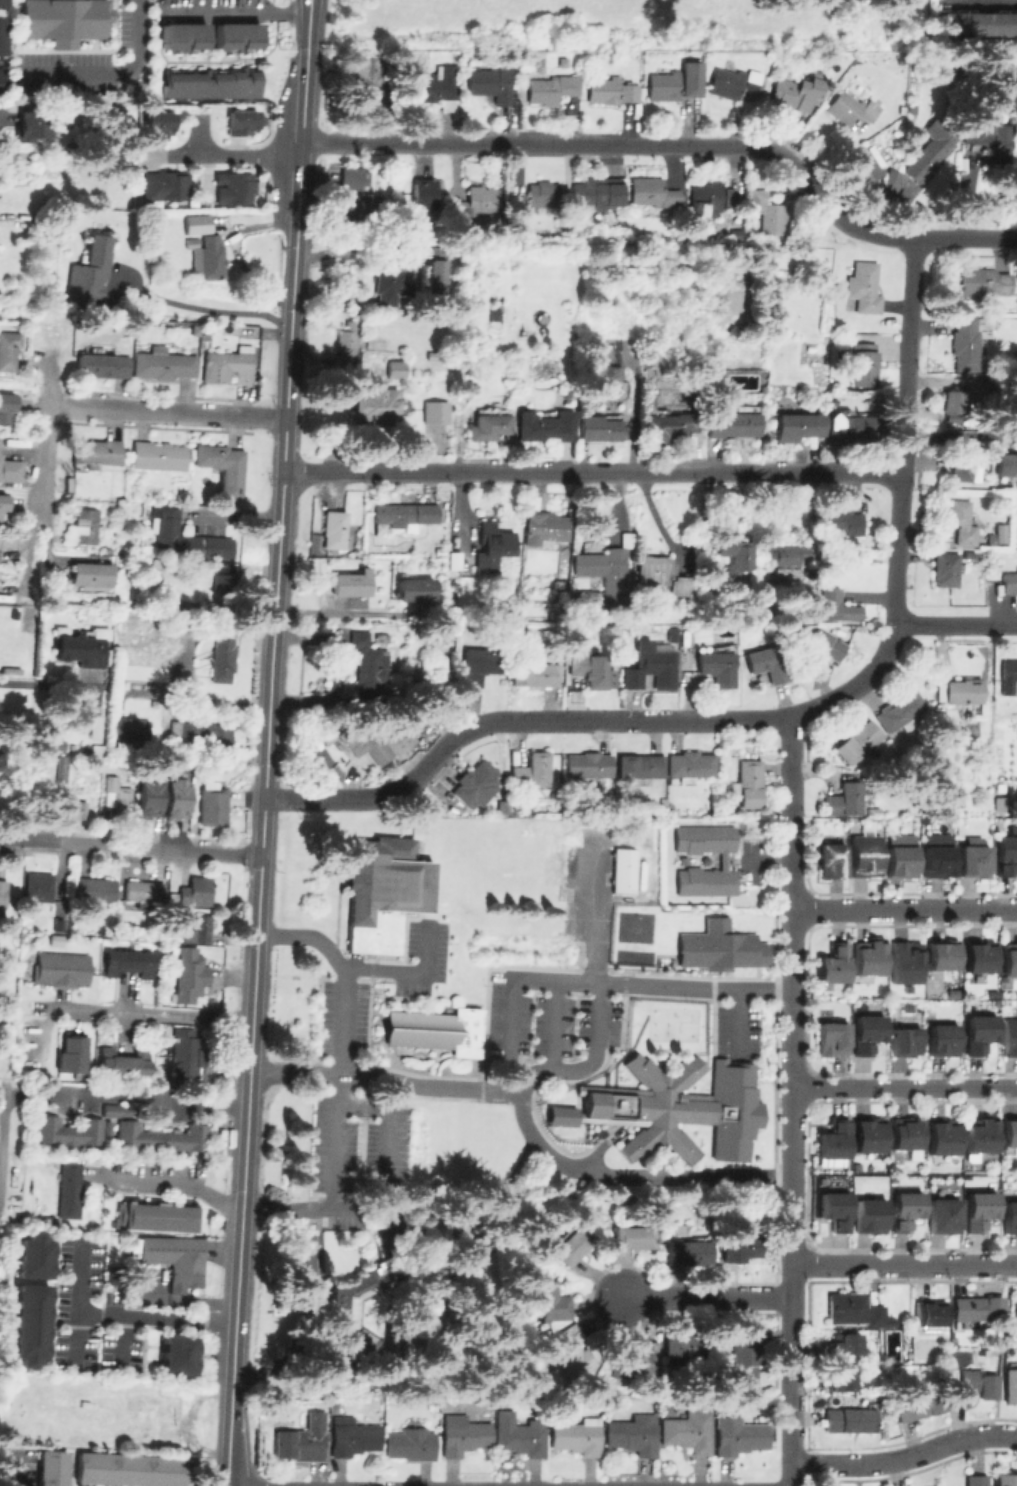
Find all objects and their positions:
road: (989, 2)
building: (2, 3)
road: (980, 4)
road: (235, 12)
building: (61, 18)
building: (976, 23)
building: (181, 35)
building: (235, 35)
building: (2, 38)
road: (306, 51)
building: (535, 51)
building: (369, 69)
road: (111, 70)
building: (732, 80)
building: (490, 82)
building: (2, 83)
building: (210, 83)
building: (436, 84)
building: (671, 85)
building: (552, 87)
building: (611, 89)
building: (795, 91)
building: (360, 101)
building: (850, 107)
building: (911, 109)
road: (1, 122)
building: (243, 124)
building: (33, 126)
building: (159, 127)
building: (990, 135)
road: (677, 145)
building: (931, 148)
road: (238, 155)
road: (300, 156)
building: (866, 164)
building: (351, 175)
building: (1016, 177)
building: (889, 183)
building: (165, 188)
building: (233, 190)
building: (598, 191)
building: (649, 192)
building: (423, 193)
building: (543, 193)
building: (707, 196)
building: (731, 196)
building: (358, 199)
building: (475, 202)
building: (517, 203)
building: (769, 212)
building: (577, 224)
road: (355, 250)
building: (211, 254)
building: (97, 255)
building: (431, 273)
building: (983, 280)
building: (389, 285)
building: (864, 286)
road: (189, 303)
road: (258, 306)
building: (194, 329)
building: (868, 334)
building: (204, 338)
building: (969, 339)
building: (347, 345)
building: (7, 349)
building: (432, 353)
building: (227, 362)
building: (862, 362)
building: (163, 363)
building: (102, 364)
building: (395, 368)
building: (605, 372)
building: (568, 398)
building: (954, 399)
building: (373, 405)
building: (9, 407)
building: (434, 409)
road: (164, 411)
building: (735, 421)
building: (666, 425)
building: (796, 425)
building: (488, 426)
building: (543, 427)
building: (600, 427)
building: (851, 427)
road: (905, 434)
road: (961, 437)
building: (96, 449)
building: (941, 450)
building: (157, 455)
building: (0, 461)
building: (1006, 465)
building: (223, 466)
building: (961, 468)
road: (592, 472)
road: (38, 474)
building: (6, 504)
building: (570, 507)
building: (406, 514)
building: (961, 519)
building: (843, 521)
building: (86, 525)
building: (546, 526)
building: (335, 527)
building: (997, 532)
building: (188, 535)
building: (493, 542)
building: (127, 549)
building: (109, 551)
building: (738, 554)
building: (969, 555)
building: (792, 558)
building: (947, 568)
building: (93, 574)
building: (660, 574)
building: (225, 580)
building: (614, 581)
building: (1010, 581)
building: (352, 584)
building: (413, 589)
building: (839, 604)
road: (342, 613)
road: (956, 625)
building: (440, 631)
building: (382, 636)
building: (77, 646)
building: (823, 647)
building: (223, 657)
building: (368, 663)
building: (767, 663)
building: (479, 664)
building: (588, 666)
building: (717, 666)
building: (649, 667)
building: (535, 673)
building: (1008, 675)
road: (10, 687)
building: (964, 690)
building: (900, 711)
road: (590, 719)
building: (126, 729)
building: (201, 732)
building: (375, 739)
building: (858, 741)
building: (51, 745)
building: (588, 764)
building: (640, 765)
building: (690, 765)
building: (61, 768)
building: (532, 770)
road: (791, 771)
building: (474, 781)
building: (750, 783)
building: (117, 794)
building: (174, 794)
building: (145, 797)
building: (845, 797)
building: (212, 806)
building: (76, 810)
building: (872, 812)
building: (898, 839)
road: (130, 847)
road: (261, 847)
building: (1005, 857)
building: (863, 858)
building: (938, 858)
building: (723, 859)
building: (829, 863)
building: (973, 863)
building: (899, 864)
road: (569, 870)
building: (622, 872)
building: (38, 886)
building: (95, 889)
building: (144, 891)
building: (196, 891)
building: (3, 892)
building: (382, 892)
building: (173, 896)
building: (60, 906)
road: (904, 906)
park: (632, 927)
building: (197, 928)
building: (56, 939)
building: (718, 946)
building: (374, 954)
building: (941, 958)
building: (867, 959)
building: (979, 960)
building: (113, 962)
building: (1009, 962)
building: (139, 963)
building: (905, 964)
building: (832, 967)
building: (46, 968)
building: (73, 970)
building: (190, 974)
road: (693, 986)
road: (508, 994)
building: (951, 994)
building: (991, 995)
road: (152, 1015)
road: (736, 1022)
road: (553, 1024)
building: (434, 1029)
building: (866, 1036)
building: (978, 1036)
building: (1009, 1039)
building: (830, 1040)
building: (942, 1042)
building: (904, 1044)
building: (186, 1052)
building: (71, 1053)
building: (122, 1061)
road: (905, 1092)
road: (152, 1099)
road: (537, 1100)
road: (1, 1107)
building: (675, 1107)
road: (792, 1109)
building: (114, 1110)
building: (70, 1132)
building: (905, 1136)
building: (980, 1136)
building: (1009, 1136)
building: (160, 1137)
building: (868, 1137)
road: (334, 1139)
building: (942, 1139)
building: (833, 1144)
building: (857, 1167)
road: (175, 1179)
building: (67, 1190)
building: (906, 1209)
building: (833, 1210)
building: (979, 1210)
building: (1011, 1214)
building: (869, 1215)
building: (944, 1215)
building: (153, 1217)
building: (631, 1236)
building: (571, 1244)
building: (740, 1246)
building: (687, 1252)
building: (33, 1255)
road: (428, 1255)
building: (174, 1257)
road: (904, 1263)
road: (704, 1297)
building: (546, 1302)
building: (352, 1307)
building: (1015, 1307)
building: (976, 1308)
building: (855, 1309)
building: (929, 1310)
road: (119, 1313)
road: (306, 1314)
building: (30, 1324)
building: (685, 1344)
building: (843, 1347)
building: (571, 1348)
road: (1004, 1351)
building: (744, 1352)
building: (175, 1355)
road: (403, 1355)
building: (634, 1361)
building: (842, 1378)
building: (1010, 1385)
building: (973, 1387)
building: (918, 1403)
building: (142, 1416)
building: (849, 1419)
building: (689, 1431)
building: (463, 1434)
building: (634, 1434)
building: (520, 1435)
building: (739, 1435)
building: (353, 1436)
building: (577, 1436)
building: (71, 1439)
road: (790, 1440)
building: (299, 1444)
building: (412, 1444)
road: (904, 1457)
building: (52, 1468)
building: (128, 1469)
road: (14, 1471)
building: (977, 1480)
building: (1006, 1480)

